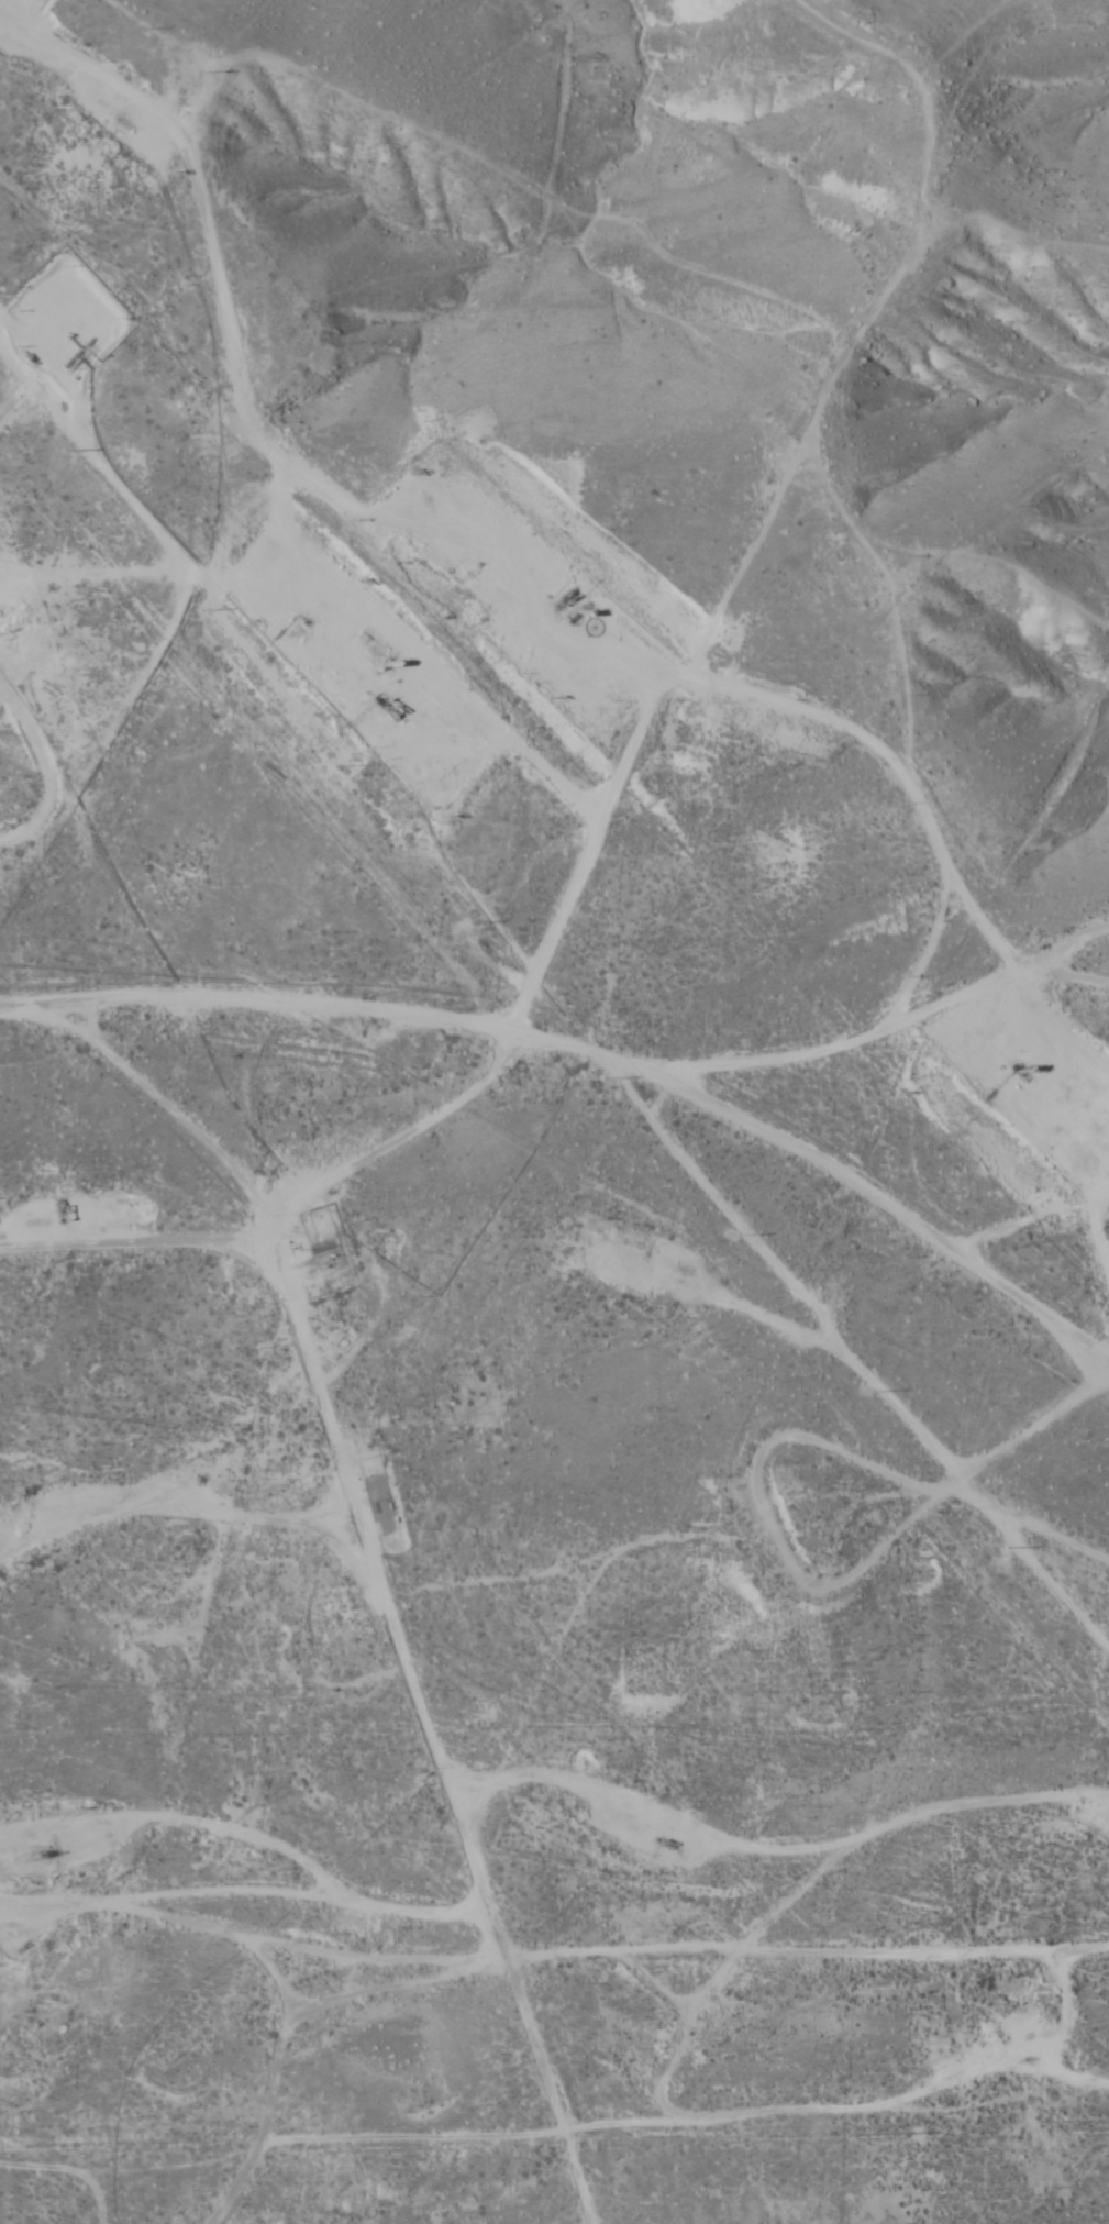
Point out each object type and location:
road: (891, 1021)
road: (594, 1052)
road: (289, 1226)
road: (390, 1571)

